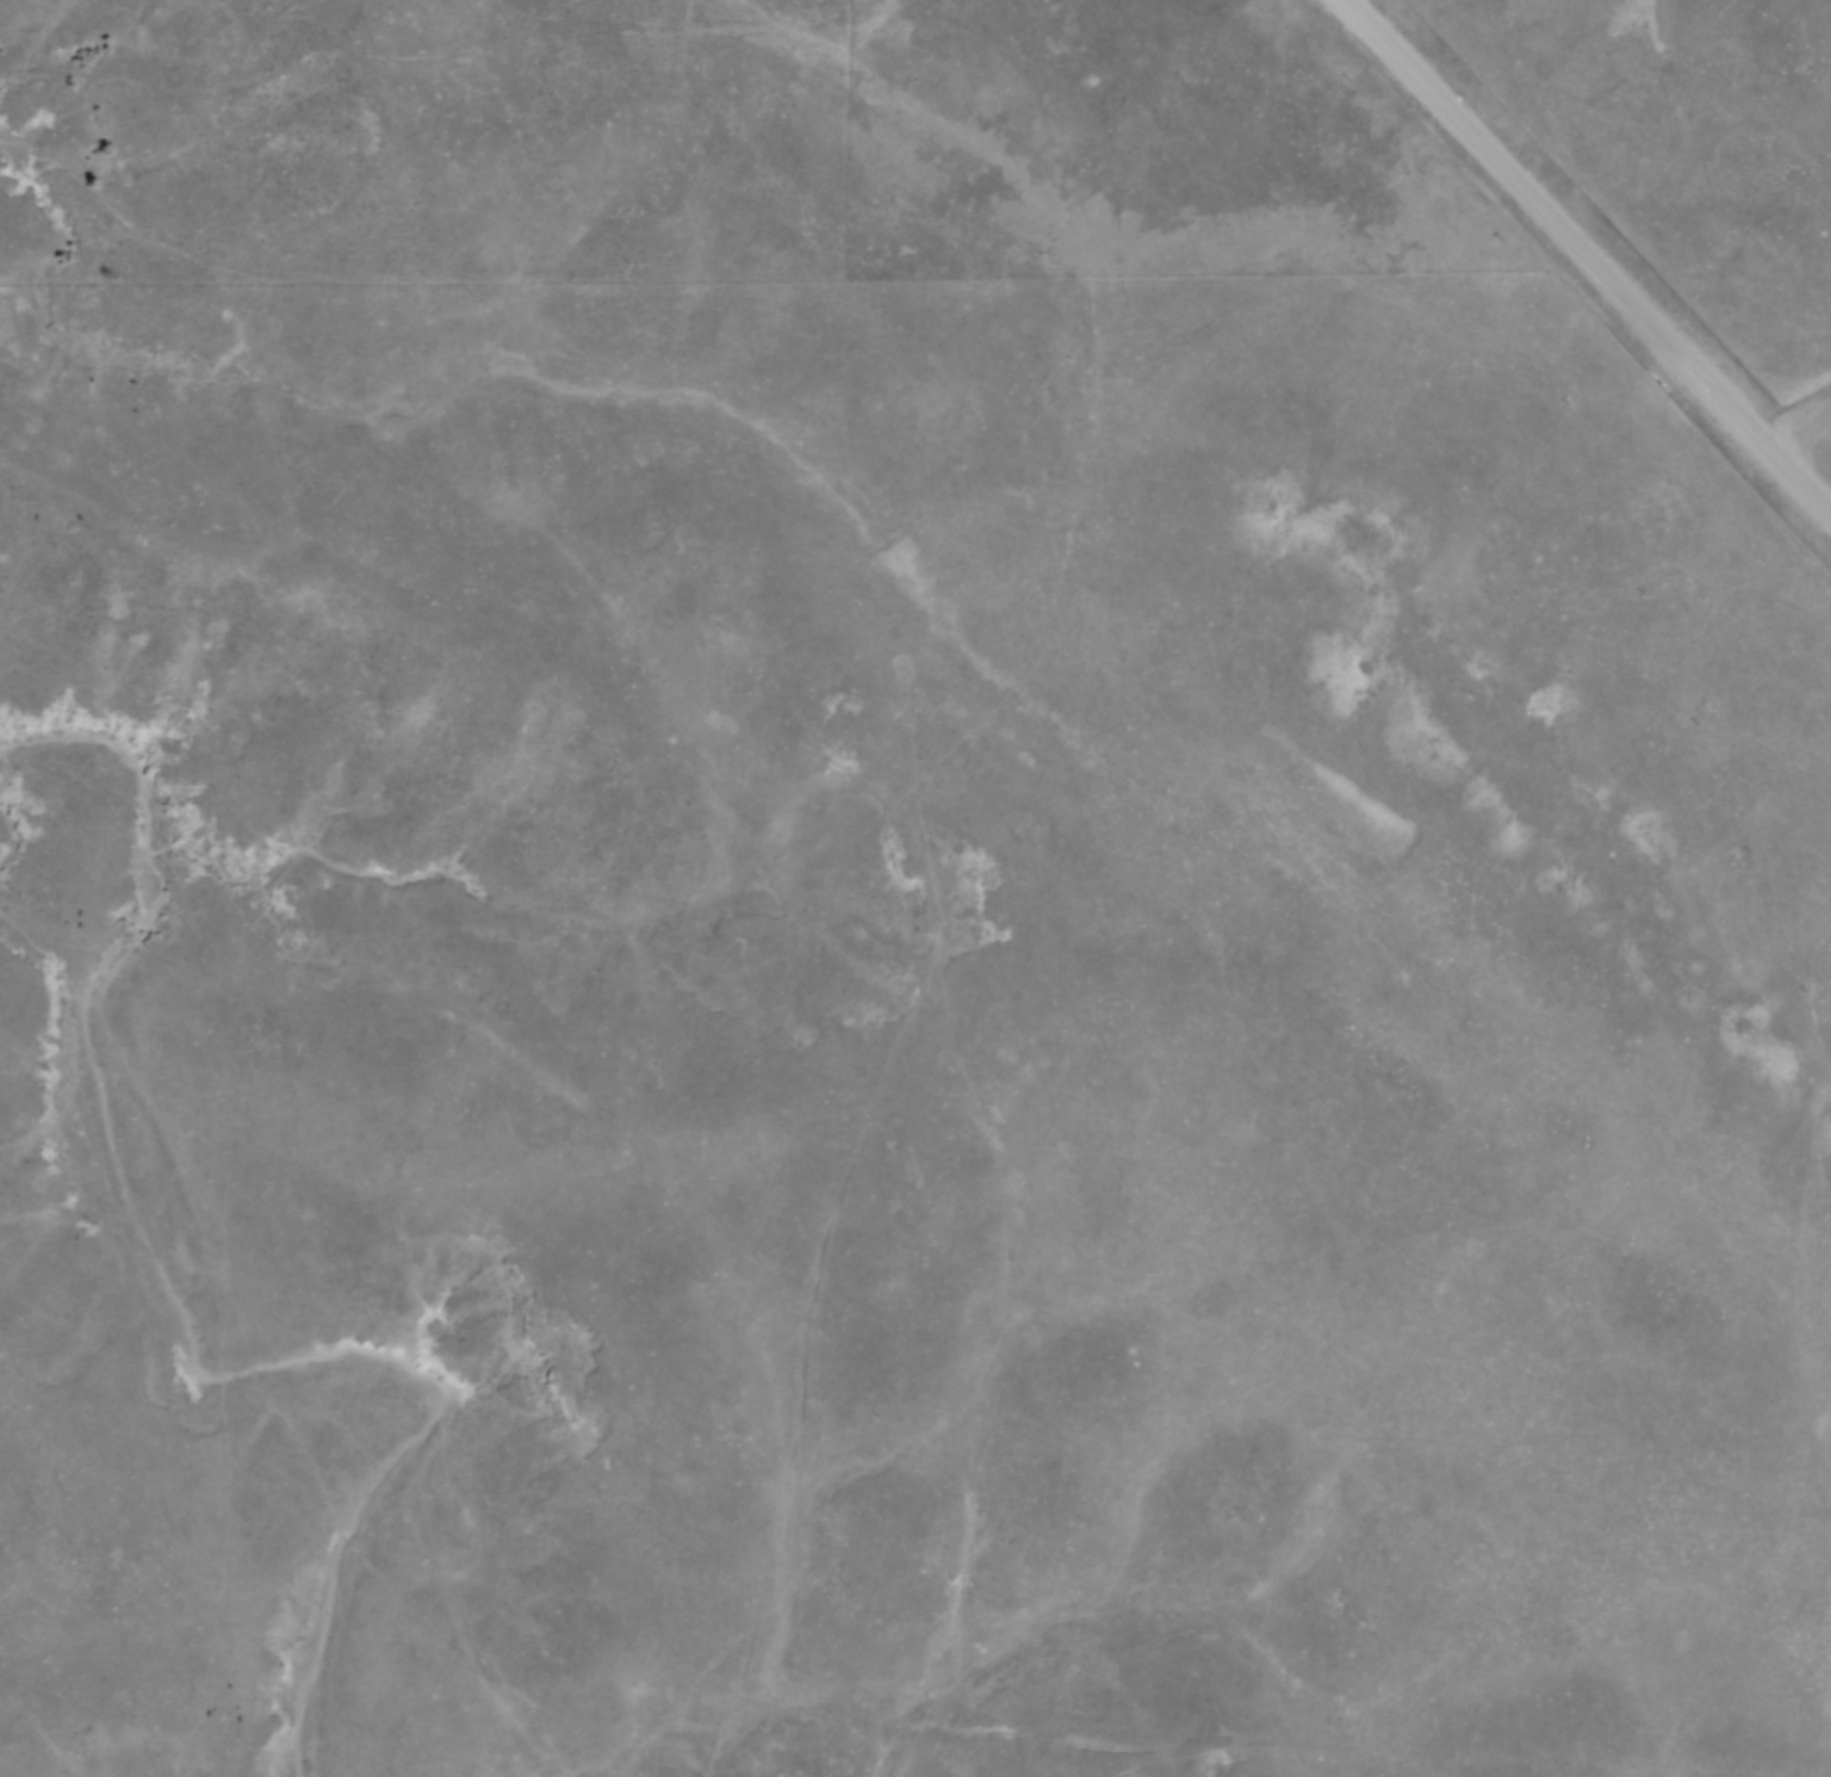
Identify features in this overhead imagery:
road: (1588, 255)
crop: (1813, 415)

